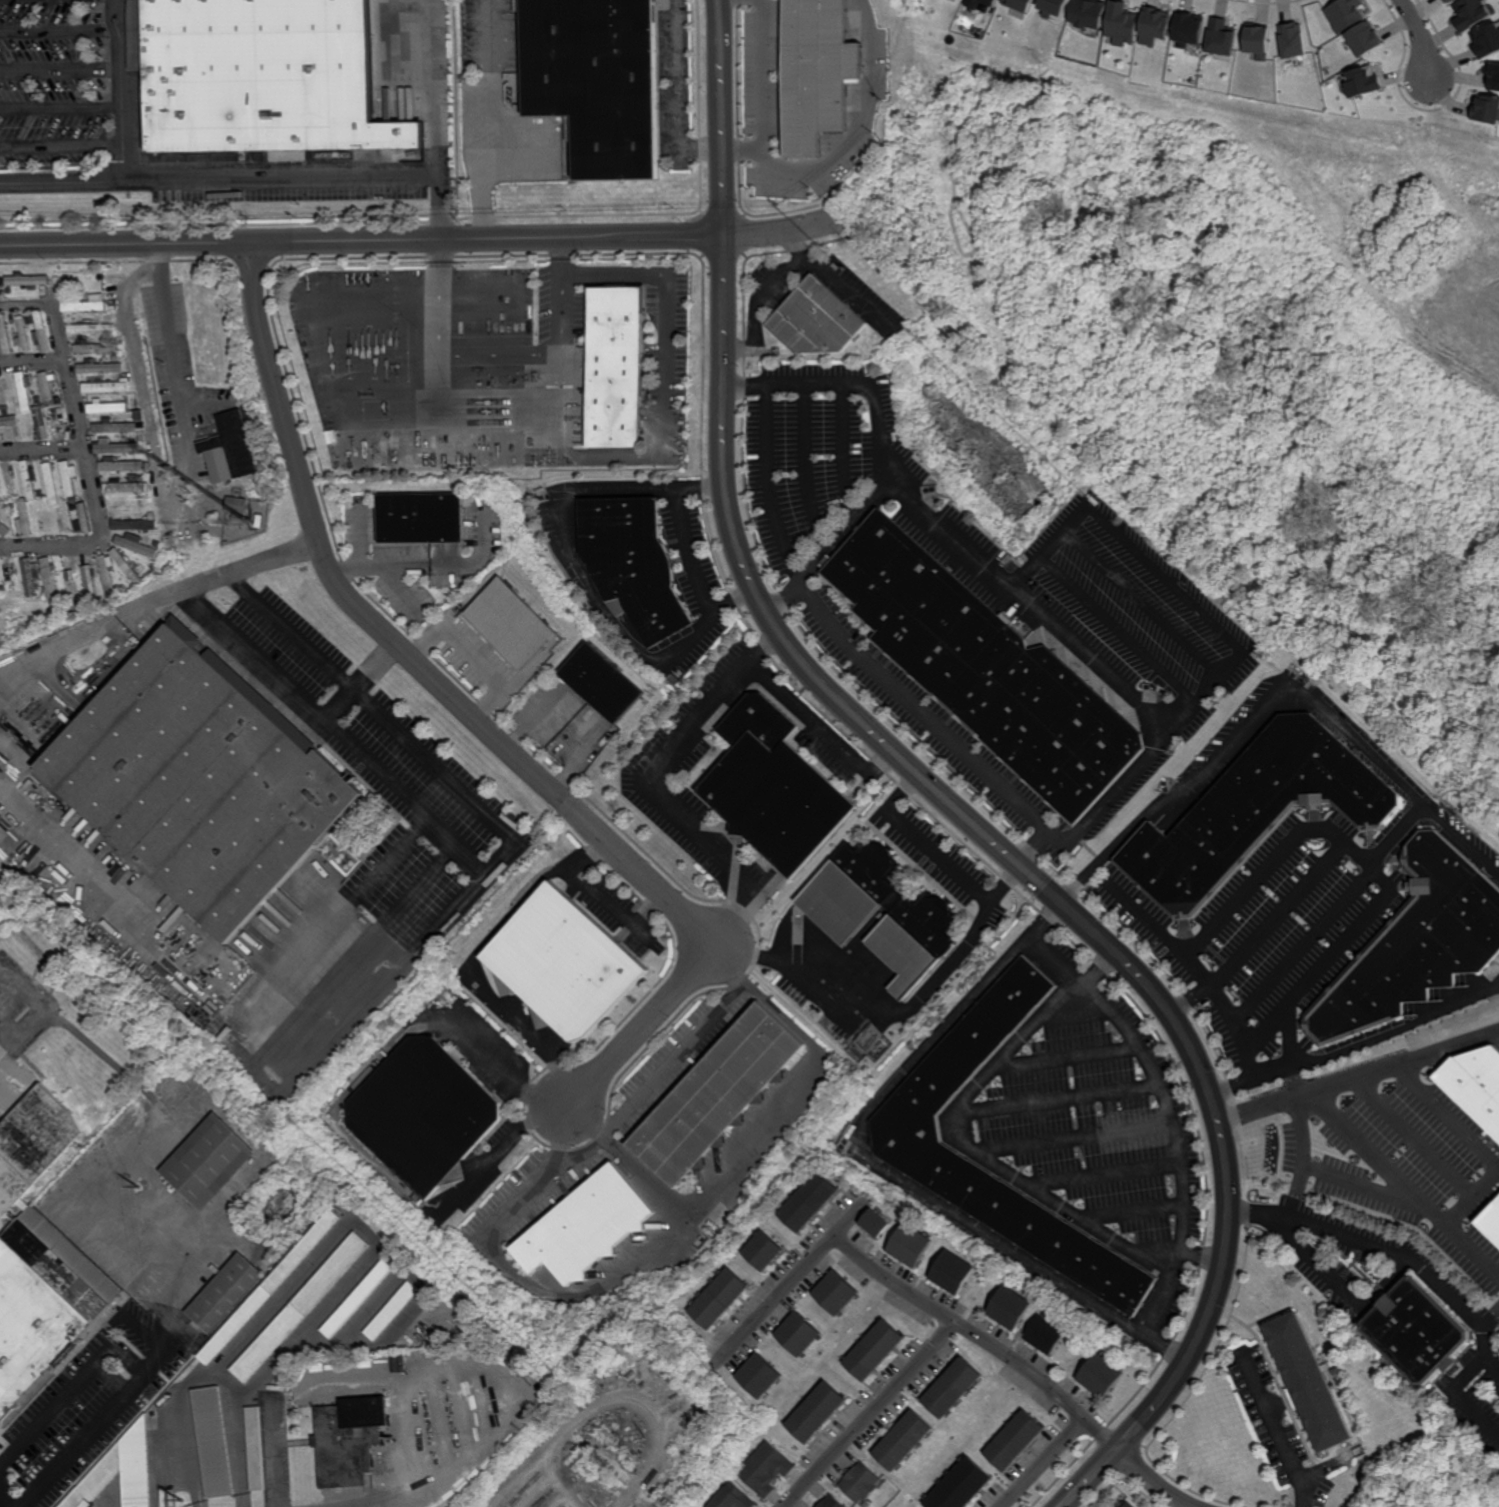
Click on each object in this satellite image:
building: (1448, 1)
building: (980, 4)
building: (1018, 4)
building: (1052, 7)
building: (1472, 13)
building: (1088, 14)
building: (1343, 14)
building: (1121, 25)
building: (1153, 27)
building: (1186, 29)
road: (59, 32)
building: (1220, 37)
road: (1422, 37)
building: (1364, 39)
building: (1257, 40)
building: (1292, 40)
building: (1486, 40)
road: (61, 71)
building: (815, 72)
building: (1493, 76)
building: (262, 78)
building: (595, 82)
building: (1362, 82)
road: (672, 99)
road: (61, 109)
building: (1487, 109)
road: (486, 121)
road: (122, 135)
road: (743, 153)
road: (122, 165)
road: (802, 175)
road: (251, 179)
road: (943, 215)
road: (1302, 231)
road: (418, 241)
building: (28, 279)
road: (761, 293)
road: (848, 293)
building: (2, 294)
building: (94, 295)
building: (84, 305)
building: (108, 316)
building: (28, 317)
building: (816, 319)
building: (89, 327)
building: (43, 331)
building: (4, 334)
building: (23, 334)
building: (119, 339)
building: (96, 348)
building: (115, 357)
road: (443, 357)
road: (32, 359)
building: (616, 366)
building: (99, 367)
park: (1244, 373)
building: (119, 377)
building: (47, 387)
building: (105, 387)
building: (2, 390)
building: (126, 397)
building: (107, 407)
building: (139, 415)
building: (40, 422)
building: (7, 423)
building: (114, 427)
building: (140, 437)
road: (82, 447)
building: (114, 447)
building: (228, 448)
road: (41, 449)
road: (1310, 454)
road: (652, 457)
building: (142, 458)
building: (124, 466)
building: (68, 477)
building: (135, 478)
building: (8, 480)
building: (28, 480)
building: (50, 485)
building: (124, 486)
building: (21, 494)
building: (74, 499)
building: (130, 505)
building: (236, 507)
road: (174, 508)
building: (421, 516)
building: (152, 517)
building: (6, 518)
building: (25, 518)
building: (85, 518)
building: (259, 520)
building: (137, 525)
road: (940, 529)
road: (360, 538)
road: (836, 546)
building: (137, 548)
road: (691, 553)
road: (272, 556)
building: (634, 563)
road: (432, 565)
building: (127, 566)
building: (31, 575)
building: (107, 576)
building: (50, 577)
building: (70, 582)
building: (91, 583)
road: (401, 587)
building: (4, 588)
building: (75, 607)
building: (77, 613)
parking lot: (981, 614)
building: (511, 623)
road: (1216, 625)
road: (84, 632)
road: (845, 642)
road: (473, 657)
building: (985, 669)
road: (358, 682)
building: (602, 685)
road: (1274, 700)
road: (806, 716)
road: (475, 718)
road: (334, 731)
building: (199, 781)
road: (646, 781)
building: (772, 788)
road: (942, 797)
road: (474, 798)
building: (1255, 813)
road: (1042, 837)
road: (938, 856)
road: (1258, 876)
road: (1300, 892)
road: (357, 896)
building: (920, 925)
road: (140, 930)
building: (1416, 944)
road: (1305, 945)
road: (1331, 957)
building: (564, 964)
road: (1101, 968)
road: (1196, 972)
road: (874, 1010)
road: (1291, 1036)
road: (1358, 1047)
road: (1398, 1063)
building: (56, 1077)
building: (1475, 1085)
building: (719, 1094)
road: (1273, 1104)
building: (424, 1112)
road: (1171, 1113)
building: (904, 1129)
parking lot: (1053, 1137)
building: (33, 1143)
road: (1471, 1144)
road: (564, 1148)
road: (976, 1149)
road: (1372, 1151)
road: (628, 1157)
building: (207, 1162)
road: (889, 1169)
power tower: (141, 1181)
road: (1295, 1191)
road: (1380, 1194)
building: (812, 1201)
building: (1490, 1219)
building: (875, 1224)
building: (585, 1226)
building: (907, 1244)
road: (1383, 1247)
building: (765, 1252)
road: (1202, 1256)
building: (952, 1273)
road: (596, 1285)
building: (268, 1286)
road: (1340, 1287)
building: (222, 1293)
building: (836, 1294)
building: (357, 1299)
building: (720, 1299)
building: (43, 1307)
building: (299, 1308)
building: (1009, 1308)
building: (391, 1311)
road: (1490, 1317)
road: (953, 1321)
building: (1416, 1331)
building: (801, 1335)
building: (1045, 1335)
building: (872, 1351)
road: (1492, 1363)
building: (1335, 1371)
road: (137, 1374)
building: (761, 1377)
building: (1100, 1377)
building: (1307, 1383)
building: (277, 1385)
building: (951, 1389)
road: (1461, 1394)
building: (165, 1398)
road: (514, 1405)
building: (816, 1413)
road: (870, 1414)
road: (416, 1429)
road: (1280, 1432)
building: (347, 1440)
building: (132, 1442)
building: (901, 1442)
building: (1013, 1442)
building: (211, 1443)
building: (254, 1449)
road: (273, 1454)
road: (1045, 1463)
building: (766, 1469)
building: (858, 1483)
building: (959, 1487)
building: (169, 1494)
power tower: (186, 1494)
building: (732, 1498)
building: (829, 1503)
building: (667, 1504)
building: (1128, 1505)

